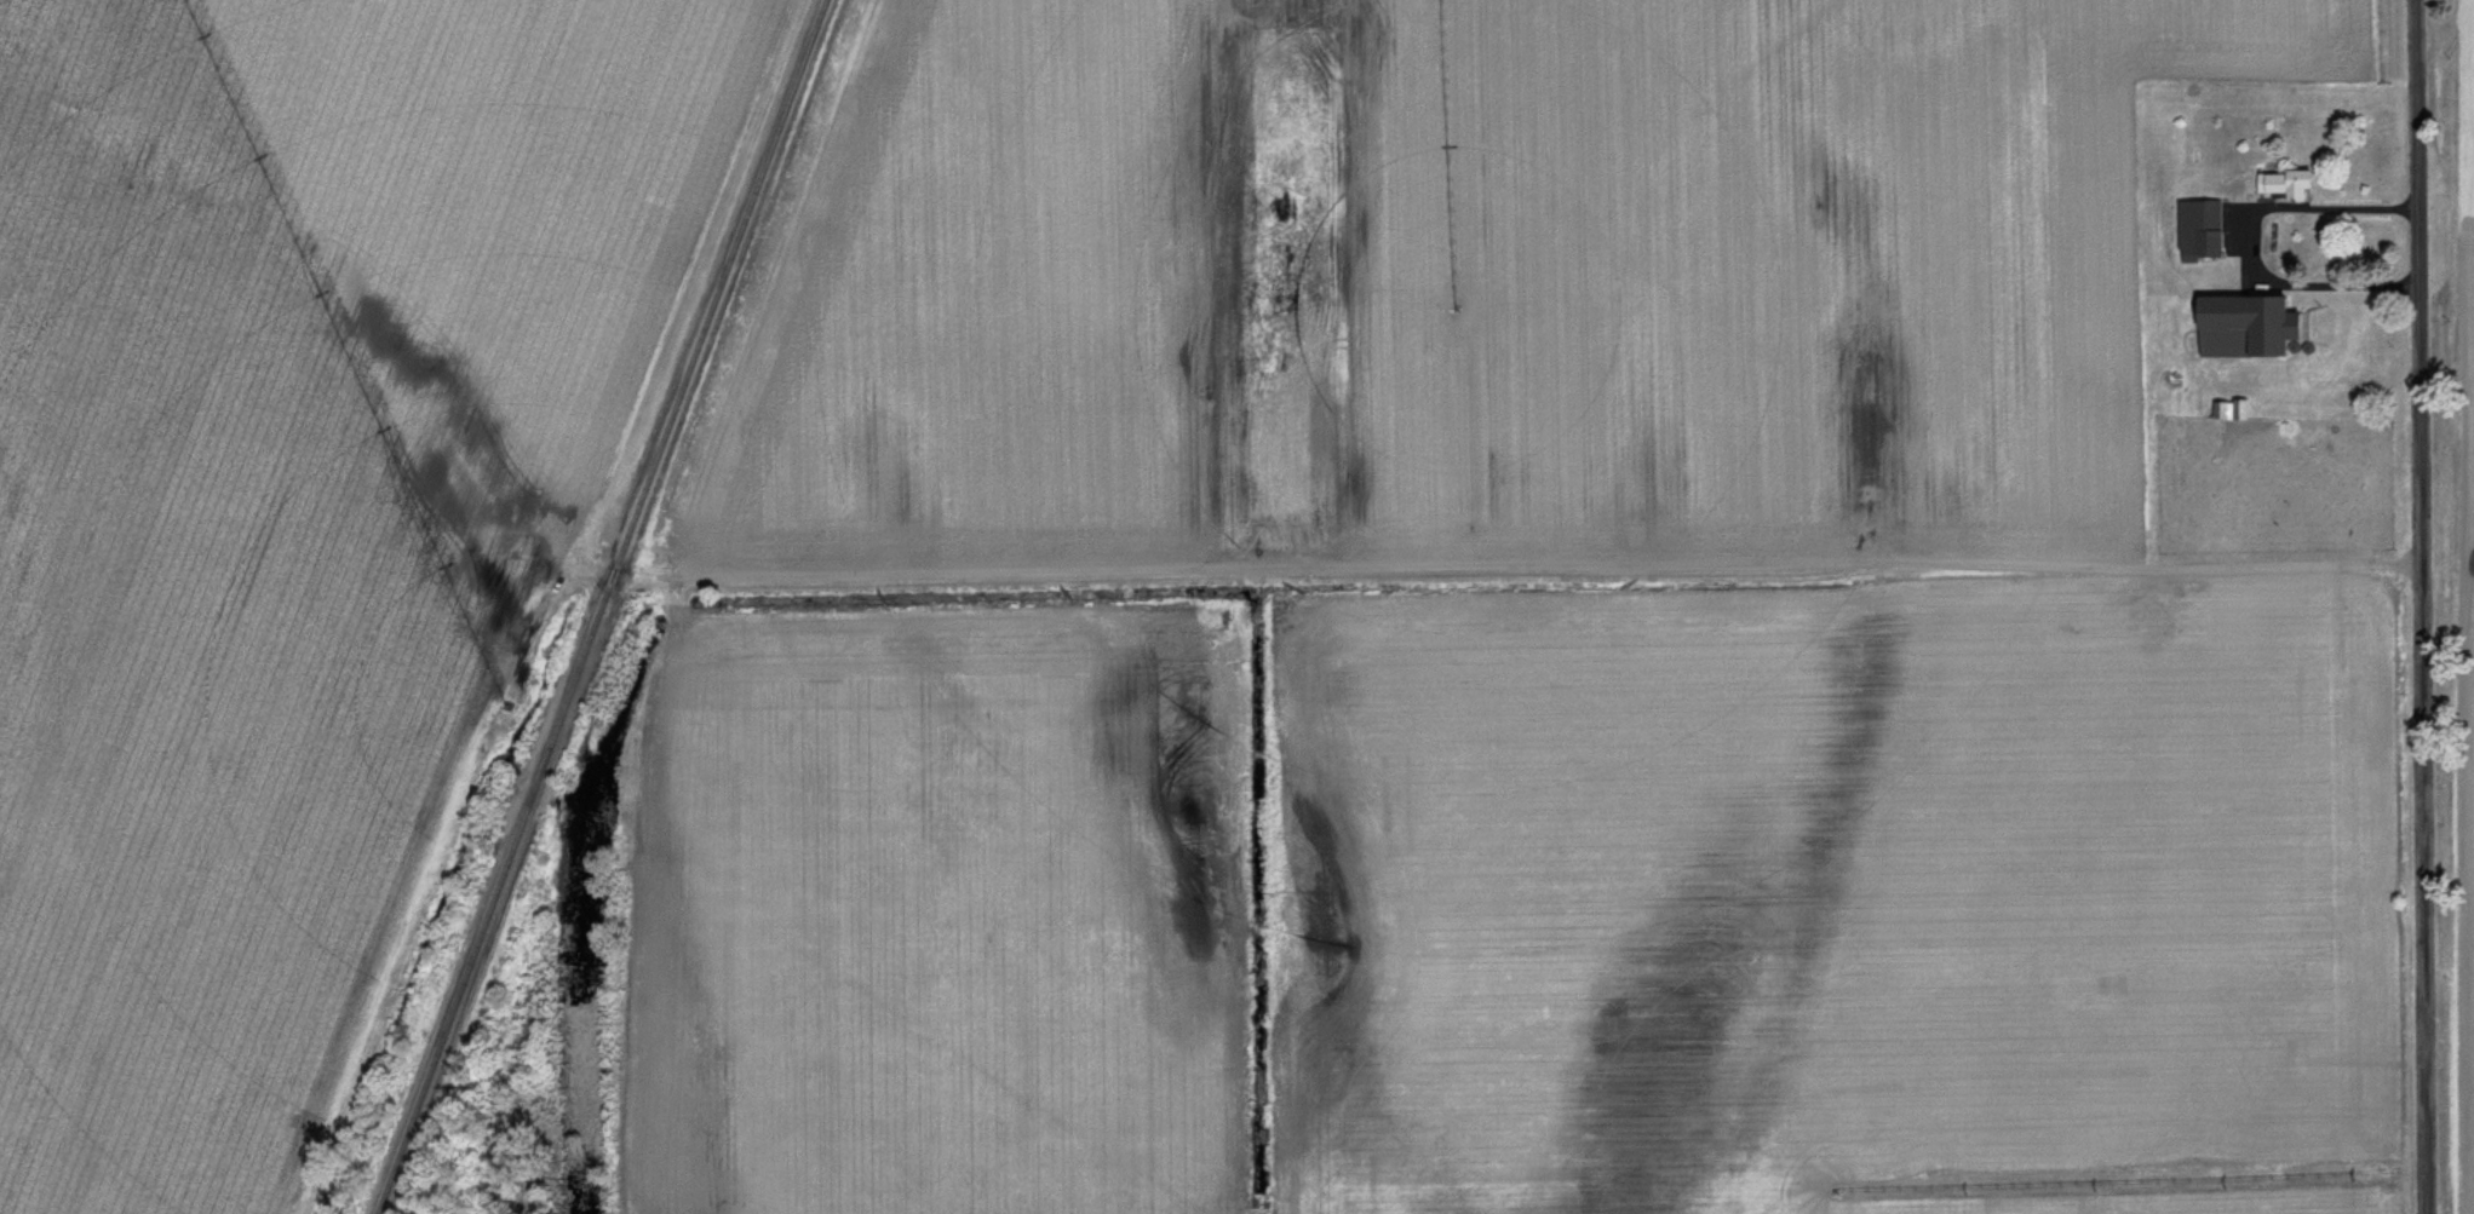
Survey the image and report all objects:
building: (2281, 186)
building: (2197, 231)
road: (2254, 248)
building: (2241, 329)
building: (2227, 412)
road: (1550, 576)
railway: (599, 606)
road: (2420, 606)

